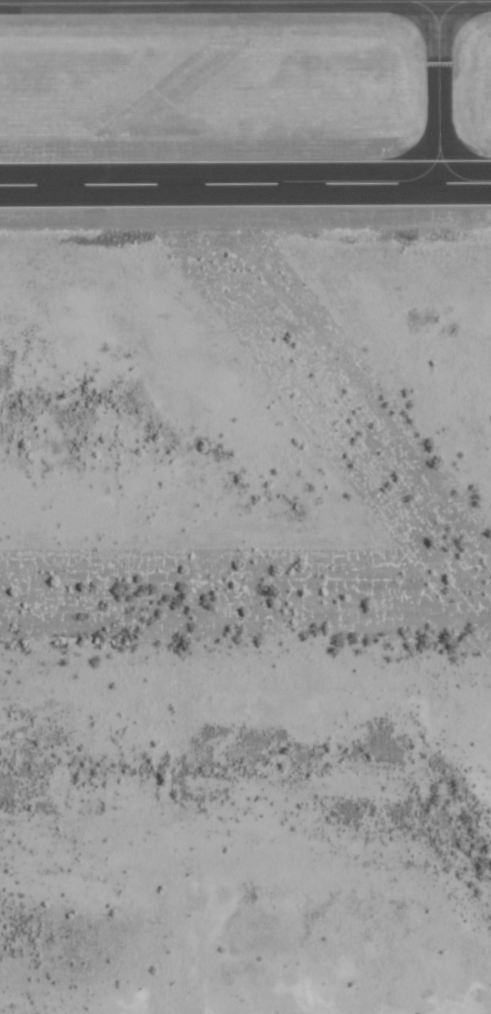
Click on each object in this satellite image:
airport taxiway: (76, 0)
airport taxiway: (440, 91)
airport runway: (245, 184)

